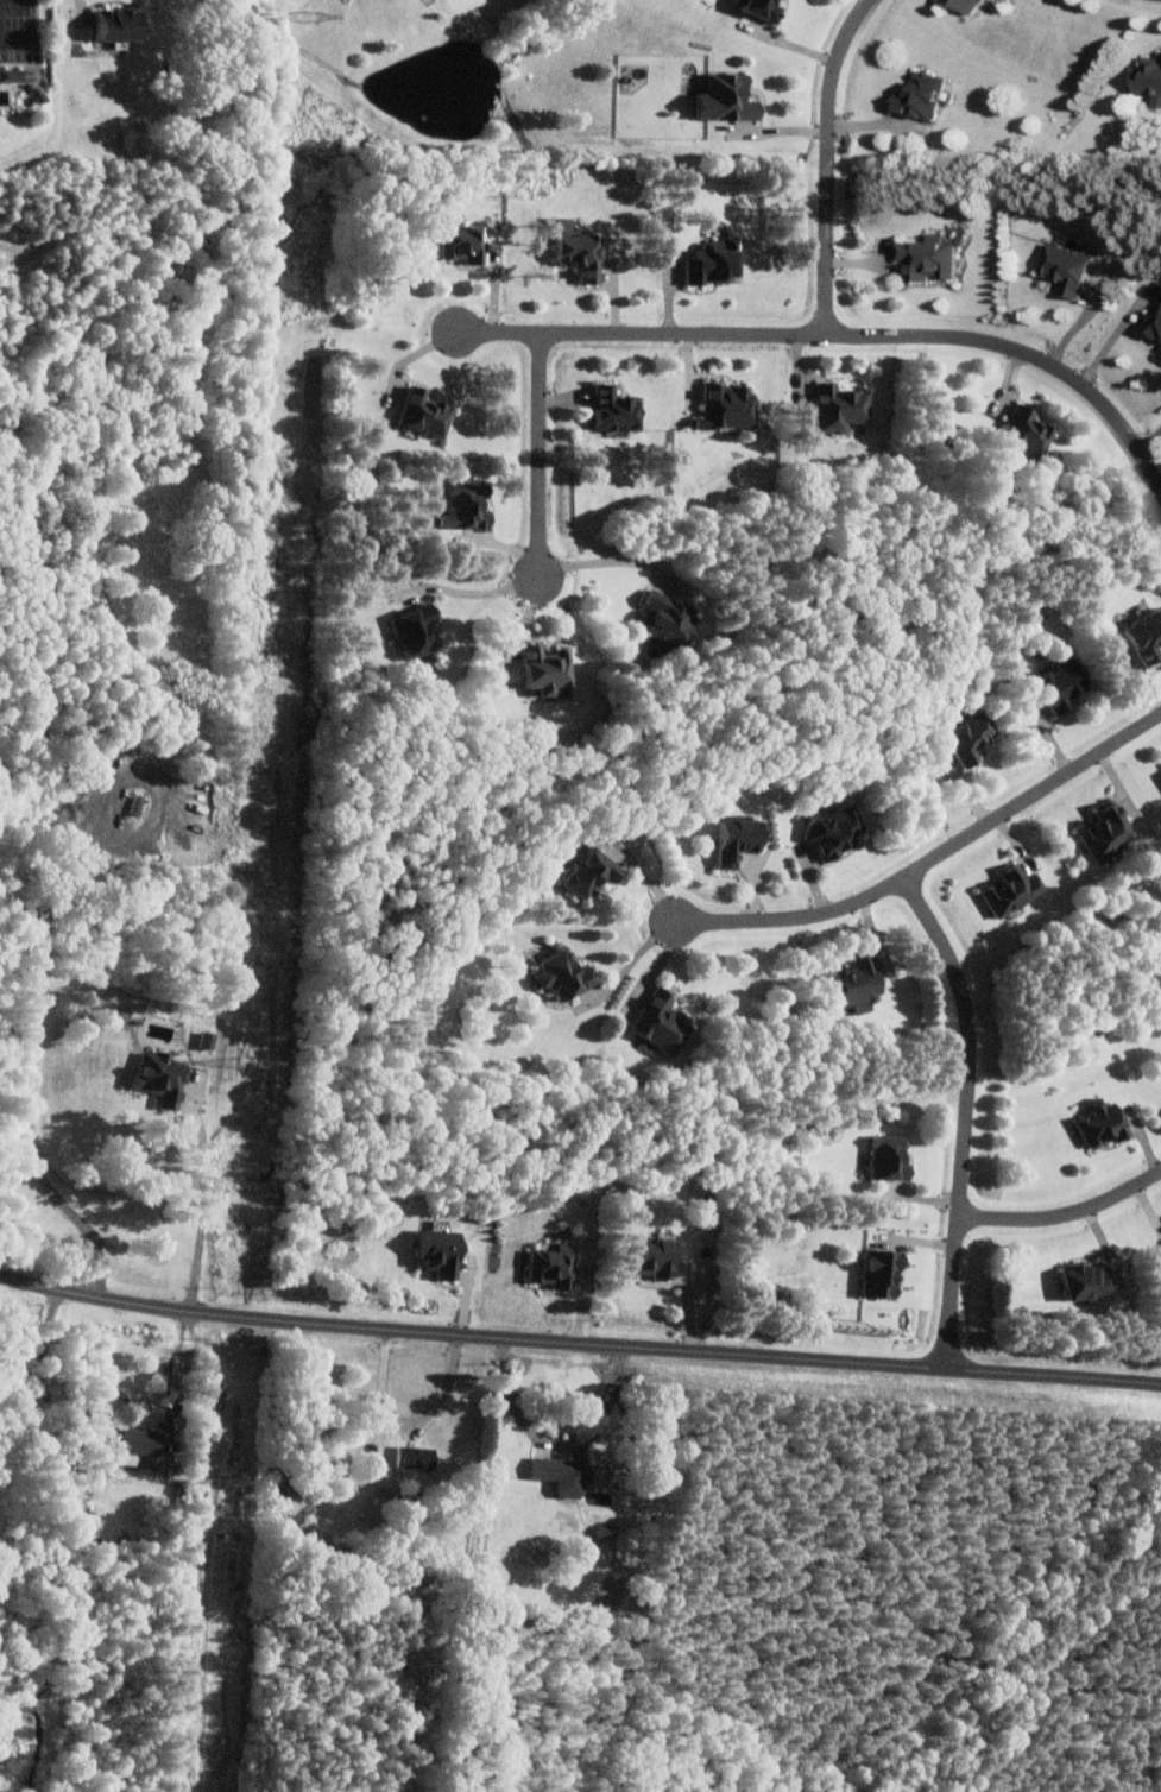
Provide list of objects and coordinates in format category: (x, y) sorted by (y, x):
building: (963, 5)
building: (752, 8)
power tower: (314, 17)
building: (108, 24)
road: (17, 40)
building: (11, 75)
building: (1147, 77)
building: (914, 95)
building: (719, 99)
road: (831, 163)
building: (455, 244)
building: (572, 254)
building: (922, 257)
building: (707, 261)
building: (1062, 267)
road: (1112, 330)
road: (839, 336)
building: (720, 406)
building: (833, 408)
building: (608, 410)
building: (417, 414)
building: (1022, 431)
road: (543, 459)
building: (458, 509)
road: (610, 561)
power tower: (280, 562)
road: (474, 591)
building: (662, 620)
building: (409, 631)
building: (1142, 636)
building: (538, 669)
building: (1053, 687)
building: (963, 737)
building: (827, 832)
building: (1099, 832)
building: (731, 840)
road: (929, 858)
building: (582, 873)
building: (1007, 890)
road: (626, 952)
building: (557, 976)
building: (850, 986)
building: (654, 1023)
building: (200, 1039)
power tower: (254, 1061)
road: (32, 1075)
building: (153, 1075)
road: (966, 1116)
building: (1096, 1122)
building: (883, 1157)
road: (202, 1206)
road: (1065, 1217)
building: (433, 1251)
building: (645, 1256)
building: (545, 1264)
building: (875, 1273)
building: (1077, 1280)
road: (579, 1346)
road: (182, 1371)
road: (36, 1402)
road: (410, 1426)
building: (138, 1440)
road: (559, 1441)
building: (410, 1457)
building: (556, 1475)
power tower: (229, 1483)
building: (480, 1507)

